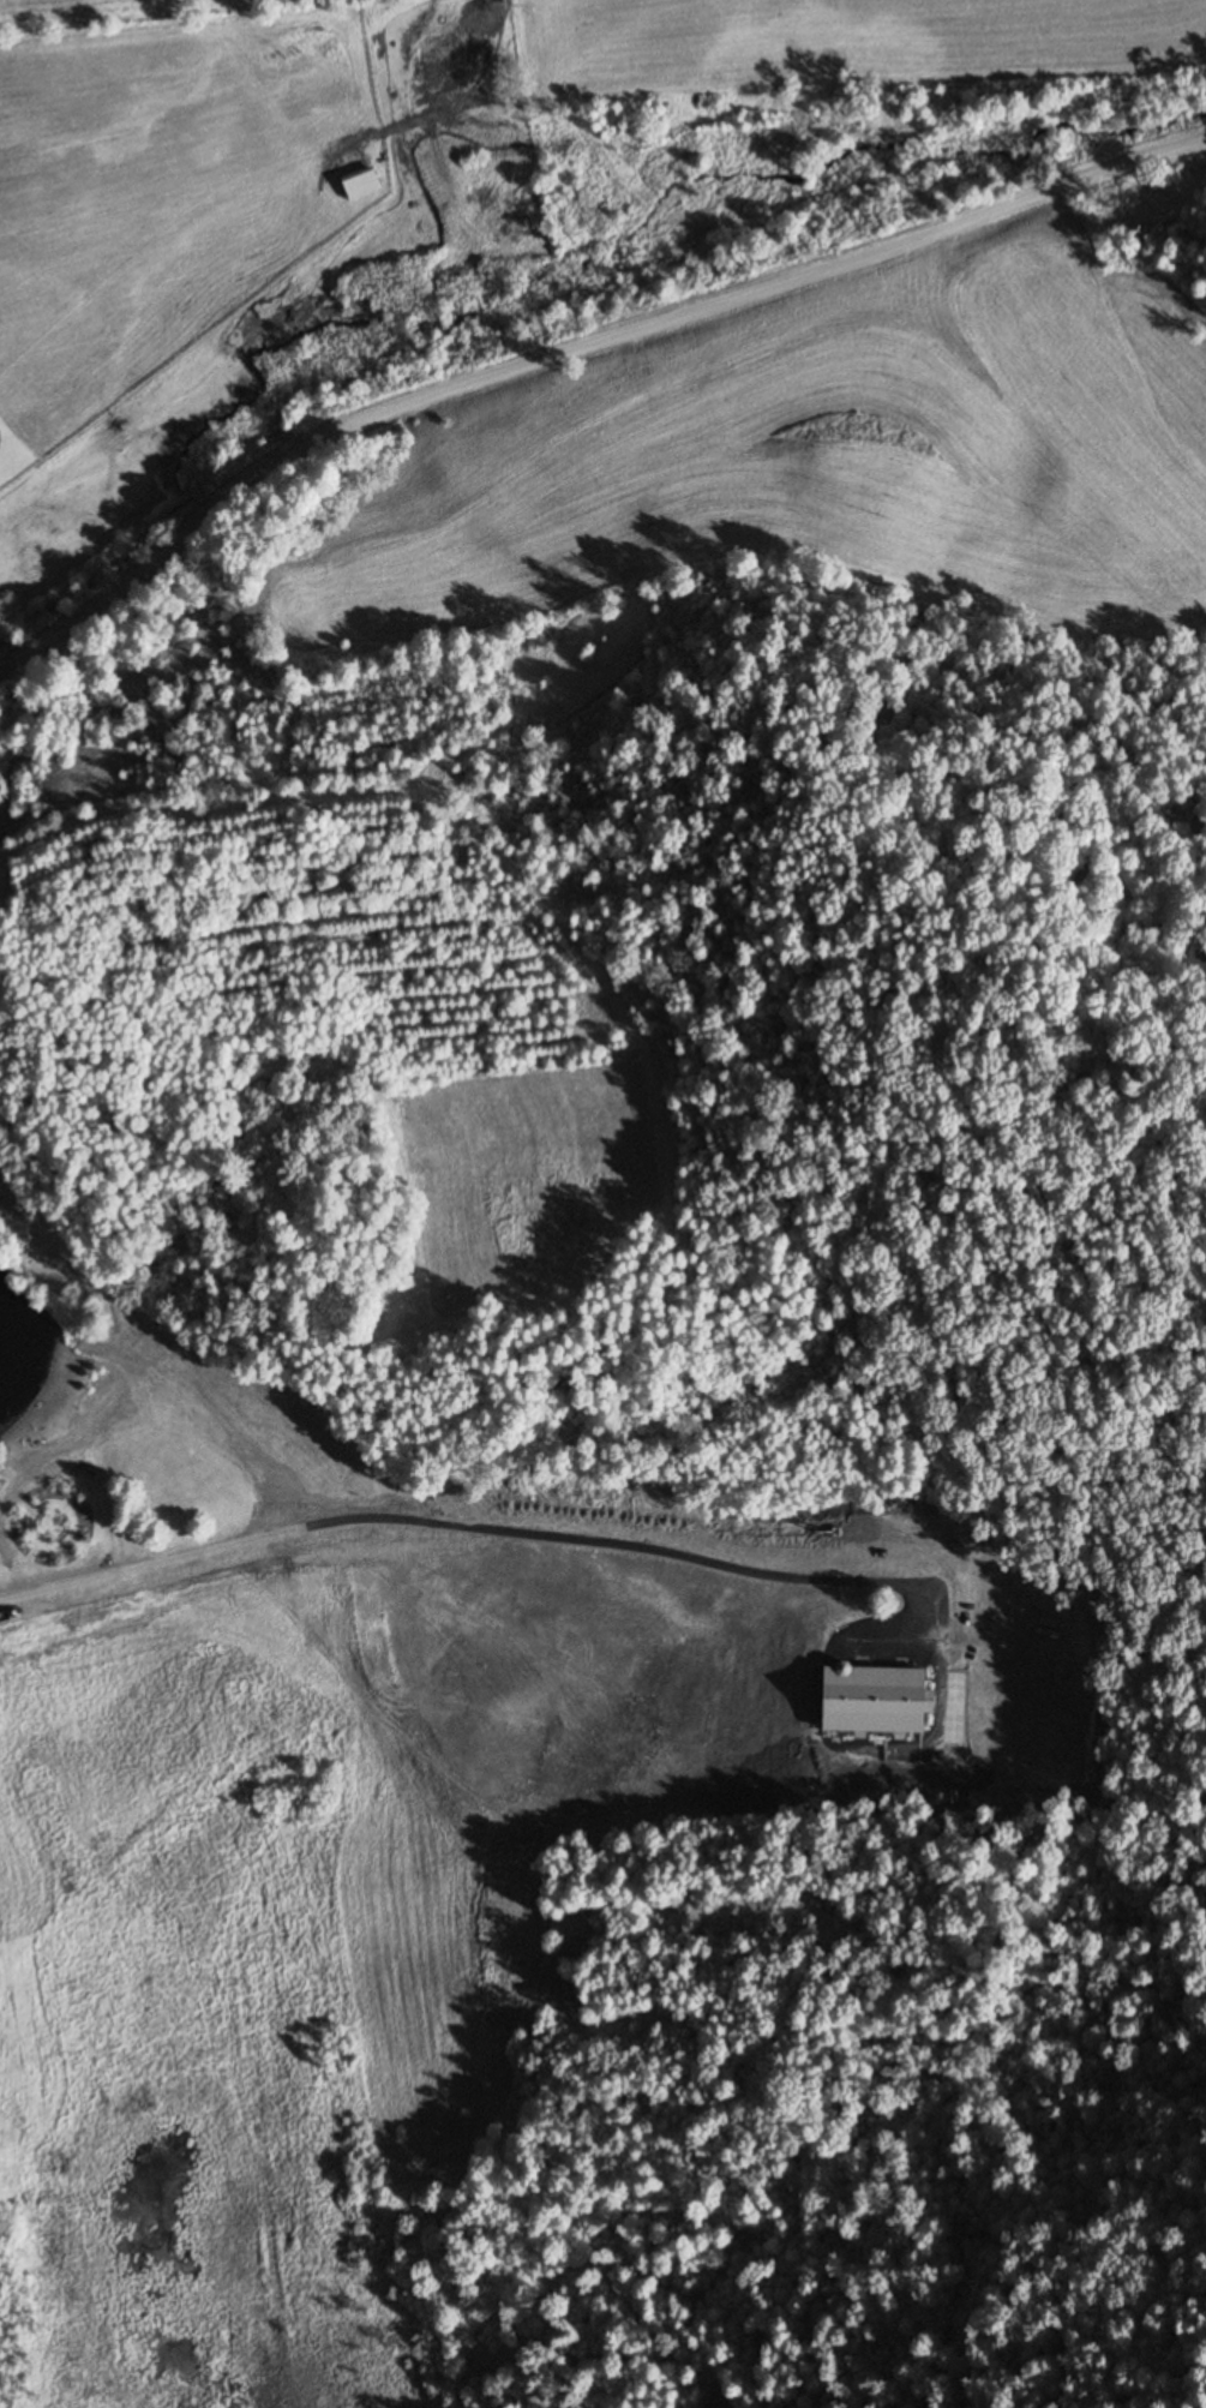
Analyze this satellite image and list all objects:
building: (364, 184)
road: (576, 352)
building: (878, 1699)

